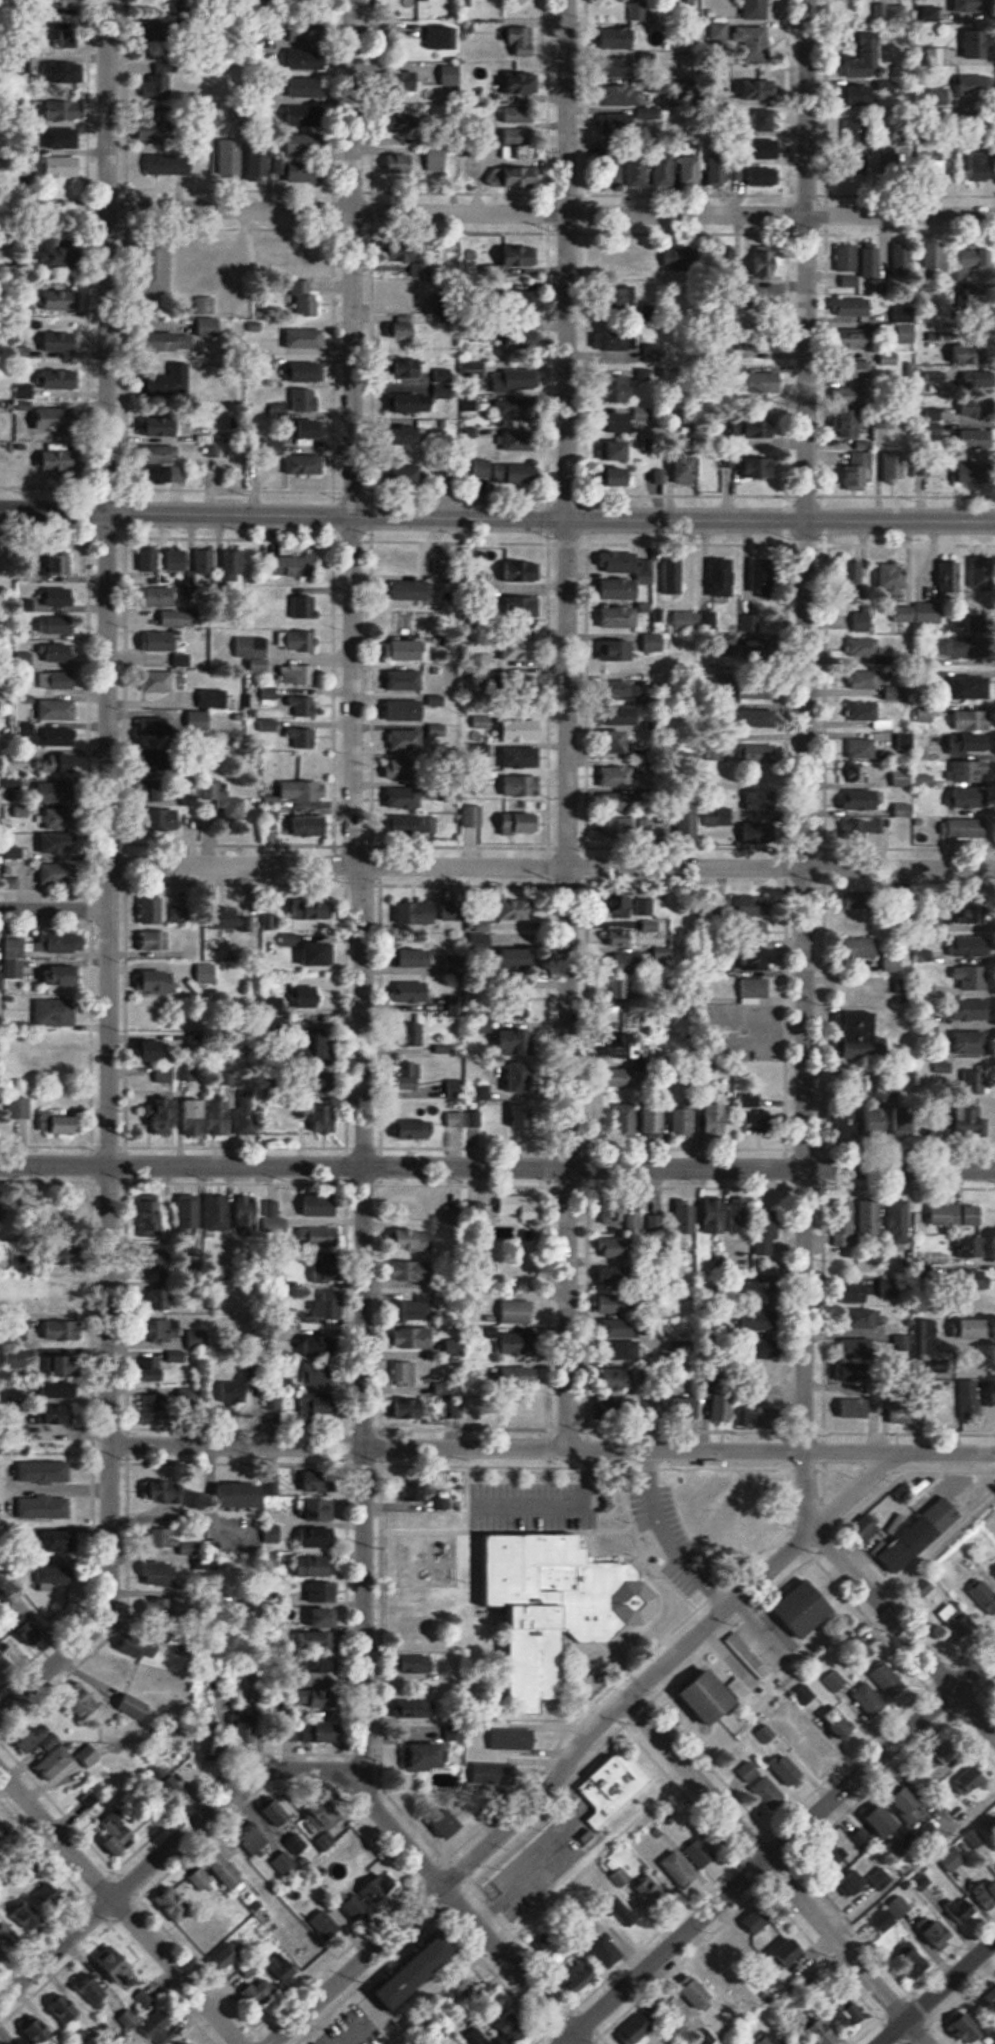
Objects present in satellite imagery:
building: (73, 3)
building: (757, 9)
building: (897, 12)
building: (720, 31)
building: (166, 33)
building: (621, 38)
building: (753, 38)
building: (522, 41)
building: (974, 44)
building: (864, 56)
building: (451, 75)
building: (523, 83)
building: (622, 84)
building: (975, 84)
building: (154, 87)
building: (860, 94)
building: (61, 110)
building: (519, 113)
building: (301, 114)
building: (764, 118)
building: (621, 122)
building: (407, 123)
building: (856, 134)
building: (62, 138)
building: (305, 142)
building: (523, 146)
building: (230, 157)
building: (925, 157)
building: (260, 161)
building: (169, 163)
building: (890, 163)
building: (400, 164)
building: (63, 167)
building: (610, 167)
building: (665, 168)
building: (638, 170)
building: (689, 170)
building: (720, 170)
building: (310, 174)
building: (762, 174)
building: (516, 178)
road: (550, 215)
building: (615, 257)
building: (520, 258)
building: (671, 258)
building: (901, 258)
building: (847, 259)
building: (933, 260)
building: (970, 260)
building: (762, 261)
building: (872, 262)
building: (651, 270)
building: (422, 272)
building: (158, 273)
building: (850, 281)
building: (876, 286)
building: (57, 298)
building: (307, 303)
building: (853, 307)
building: (621, 321)
building: (905, 326)
building: (210, 328)
building: (402, 331)
building: (305, 339)
building: (857, 339)
building: (53, 340)
building: (171, 342)
building: (653, 353)
building: (889, 358)
building: (858, 369)
building: (308, 372)
building: (409, 376)
building: (936, 377)
building: (63, 380)
building: (978, 380)
building: (167, 384)
building: (622, 389)
building: (444, 391)
building: (850, 396)
building: (306, 400)
building: (414, 403)
building: (517, 410)
building: (933, 413)
building: (884, 419)
building: (627, 420)
building: (57, 421)
building: (166, 429)
building: (853, 429)
building: (311, 430)
building: (410, 436)
building: (208, 451)
building: (620, 451)
building: (163, 455)
building: (58, 460)
building: (895, 467)
building: (766, 468)
building: (484, 469)
building: (686, 469)
building: (921, 469)
building: (862, 471)
building: (523, 473)
building: (974, 473)
building: (168, 475)
building: (412, 476)
building: (621, 478)
road: (497, 518)
building: (178, 561)
building: (207, 562)
building: (235, 562)
building: (404, 562)
building: (60, 565)
building: (622, 565)
building: (292, 566)
building: (521, 570)
building: (982, 572)
building: (855, 574)
building: (894, 576)
building: (939, 577)
building: (717, 578)
building: (620, 589)
building: (409, 590)
building: (55, 597)
building: (161, 597)
building: (532, 604)
building: (303, 607)
building: (904, 613)
building: (618, 618)
building: (182, 619)
building: (407, 619)
building: (862, 619)
building: (692, 621)
building: (51, 624)
building: (974, 636)
building: (159, 641)
building: (300, 641)
building: (863, 647)
building: (407, 650)
building: (615, 650)
building: (519, 651)
building: (61, 652)
building: (300, 675)
building: (57, 679)
building: (157, 680)
building: (406, 680)
building: (866, 680)
building: (971, 688)
building: (628, 693)
building: (302, 706)
building: (57, 709)
building: (404, 709)
building: (868, 714)
building: (622, 715)
building: (758, 718)
building: (972, 719)
road: (567, 724)
building: (166, 725)
road: (805, 725)
building: (520, 729)
building: (61, 736)
building: (303, 739)
building: (404, 739)
building: (904, 740)
building: (618, 742)
building: (970, 744)
building: (862, 748)
building: (762, 755)
building: (166, 757)
building: (521, 757)
building: (39, 758)
building: (401, 769)
building: (970, 770)
building: (855, 772)
building: (903, 777)
building: (615, 778)
building: (925, 779)
building: (523, 785)
building: (302, 792)
building: (403, 798)
building: (971, 798)
building: (864, 799)
building: (755, 801)
building: (231, 806)
building: (904, 810)
building: (177, 811)
building: (53, 815)
building: (473, 815)
building: (687, 821)
building: (309, 822)
building: (521, 823)
building: (414, 825)
building: (619, 825)
building: (863, 827)
building: (967, 828)
building: (59, 841)
building: (14, 851)
road: (550, 866)
building: (59, 872)
road: (107, 877)
road: (361, 897)
building: (756, 906)
building: (643, 907)
building: (312, 910)
building: (623, 910)
road: (53, 911)
building: (504, 912)
building: (438, 913)
building: (228, 920)
building: (650, 926)
building: (622, 937)
building: (155, 939)
building: (43, 941)
building: (970, 946)
building: (864, 947)
building: (316, 954)
building: (415, 957)
building: (514, 957)
building: (764, 958)
building: (894, 962)
building: (971, 977)
building: (159, 980)
building: (755, 988)
building: (413, 992)
building: (308, 996)
building: (619, 1002)
building: (56, 1010)
building: (972, 1010)
building: (414, 1033)
building: (862, 1035)
building: (972, 1043)
building: (322, 1044)
building: (621, 1047)
building: (156, 1050)
building: (67, 1059)
building: (411, 1077)
building: (621, 1077)
building: (457, 1089)
building: (19, 1107)
building: (600, 1107)
building: (295, 1110)
building: (247, 1113)
building: (165, 1116)
building: (197, 1117)
building: (221, 1117)
building: (325, 1118)
building: (463, 1118)
building: (652, 1118)
building: (625, 1120)
building: (681, 1120)
building: (714, 1120)
building: (900, 1120)
building: (757, 1122)
building: (60, 1123)
building: (852, 1123)
building: (971, 1125)
building: (410, 1128)
road: (497, 1167)
building: (320, 1205)
building: (61, 1211)
building: (218, 1212)
building: (189, 1213)
building: (247, 1213)
building: (455, 1214)
building: (150, 1215)
building: (616, 1215)
building: (744, 1215)
building: (958, 1215)
building: (869, 1218)
building: (900, 1222)
building: (275, 1224)
building: (845, 1225)
building: (505, 1231)
building: (319, 1236)
building: (414, 1240)
building: (766, 1241)
building: (970, 1246)
building: (614, 1247)
building: (327, 1269)
building: (412, 1271)
building: (618, 1275)
building: (65, 1291)
building: (172, 1297)
building: (978, 1302)
building: (614, 1303)
building: (327, 1305)
building: (419, 1308)
building: (517, 1311)
building: (860, 1319)
building: (620, 1327)
building: (971, 1328)
building: (62, 1329)
building: (163, 1329)
building: (414, 1337)
building: (928, 1337)
building: (515, 1343)
building: (319, 1346)
building: (619, 1350)
building: (16, 1358)
building: (57, 1366)
building: (161, 1369)
building: (404, 1372)
building: (520, 1376)
building: (618, 1378)
building: (61, 1389)
building: (232, 1390)
building: (310, 1390)
building: (160, 1406)
building: (619, 1406)
building: (413, 1407)
building: (856, 1408)
building: (901, 1409)
building: (60, 1414)
road: (551, 1448)
building: (44, 1472)
building: (321, 1482)
building: (162, 1489)
building: (244, 1495)
road: (558, 1502)
building: (44, 1508)
building: (321, 1509)
building: (283, 1516)
building: (865, 1525)
building: (306, 1537)
road: (665, 1538)
building: (164, 1539)
building: (315, 1567)
building: (161, 1575)
building: (316, 1592)
road: (878, 1602)
building: (560, 1606)
building: (807, 1608)
building: (948, 1611)
building: (323, 1617)
building: (320, 1641)
building: (749, 1656)
building: (414, 1664)
building: (713, 1697)
building: (315, 1698)
building: (83, 1703)
building: (134, 1707)
building: (413, 1708)
building: (839, 1723)
building: (240, 1727)
building: (511, 1739)
road: (579, 1746)
building: (44, 1749)
building: (88, 1755)
building: (430, 1756)
building: (748, 1771)
building: (786, 1772)
building: (496, 1774)
building: (970, 1778)
building: (615, 1786)
building: (768, 1792)
building: (909, 1810)
building: (276, 1816)
building: (882, 1821)
building: (322, 1822)
building: (451, 1824)
building: (2, 1830)
building: (116, 1835)
building: (256, 1841)
road: (168, 1847)
road: (782, 1849)
building: (701, 1852)
building: (348, 1858)
building: (283, 1863)
building: (680, 1868)
road: (776, 1872)
building: (222, 1874)
building: (621, 1876)
building: (881, 1877)
building: (200, 1879)
building: (855, 1881)
building: (47, 1890)
building: (651, 1893)
building: (371, 1896)
building: (172, 1903)
building: (899, 1906)
road: (119, 1907)
building: (961, 1907)
building: (622, 1909)
building: (28, 1915)
road: (471, 1917)
building: (757, 1919)
building: (326, 1923)
building: (210, 1932)
building: (939, 1932)
building: (7, 1936)
building: (303, 1943)
building: (790, 1948)
building: (608, 1950)
building: (226, 1955)
building: (115, 1957)
building: (249, 1968)
building: (286, 1968)
building: (418, 1972)
building: (580, 1972)
building: (714, 1974)
building: (93, 1989)
building: (259, 1990)
road: (937, 1992)
building: (695, 1994)
building: (745, 1994)
building: (65, 2010)
building: (848, 2012)
building: (674, 2014)
building: (159, 2027)
building: (512, 2028)
building: (642, 2032)
building: (824, 2032)
building: (476, 2038)
building: (97, 2039)
building: (187, 2042)
building: (791, 2042)

